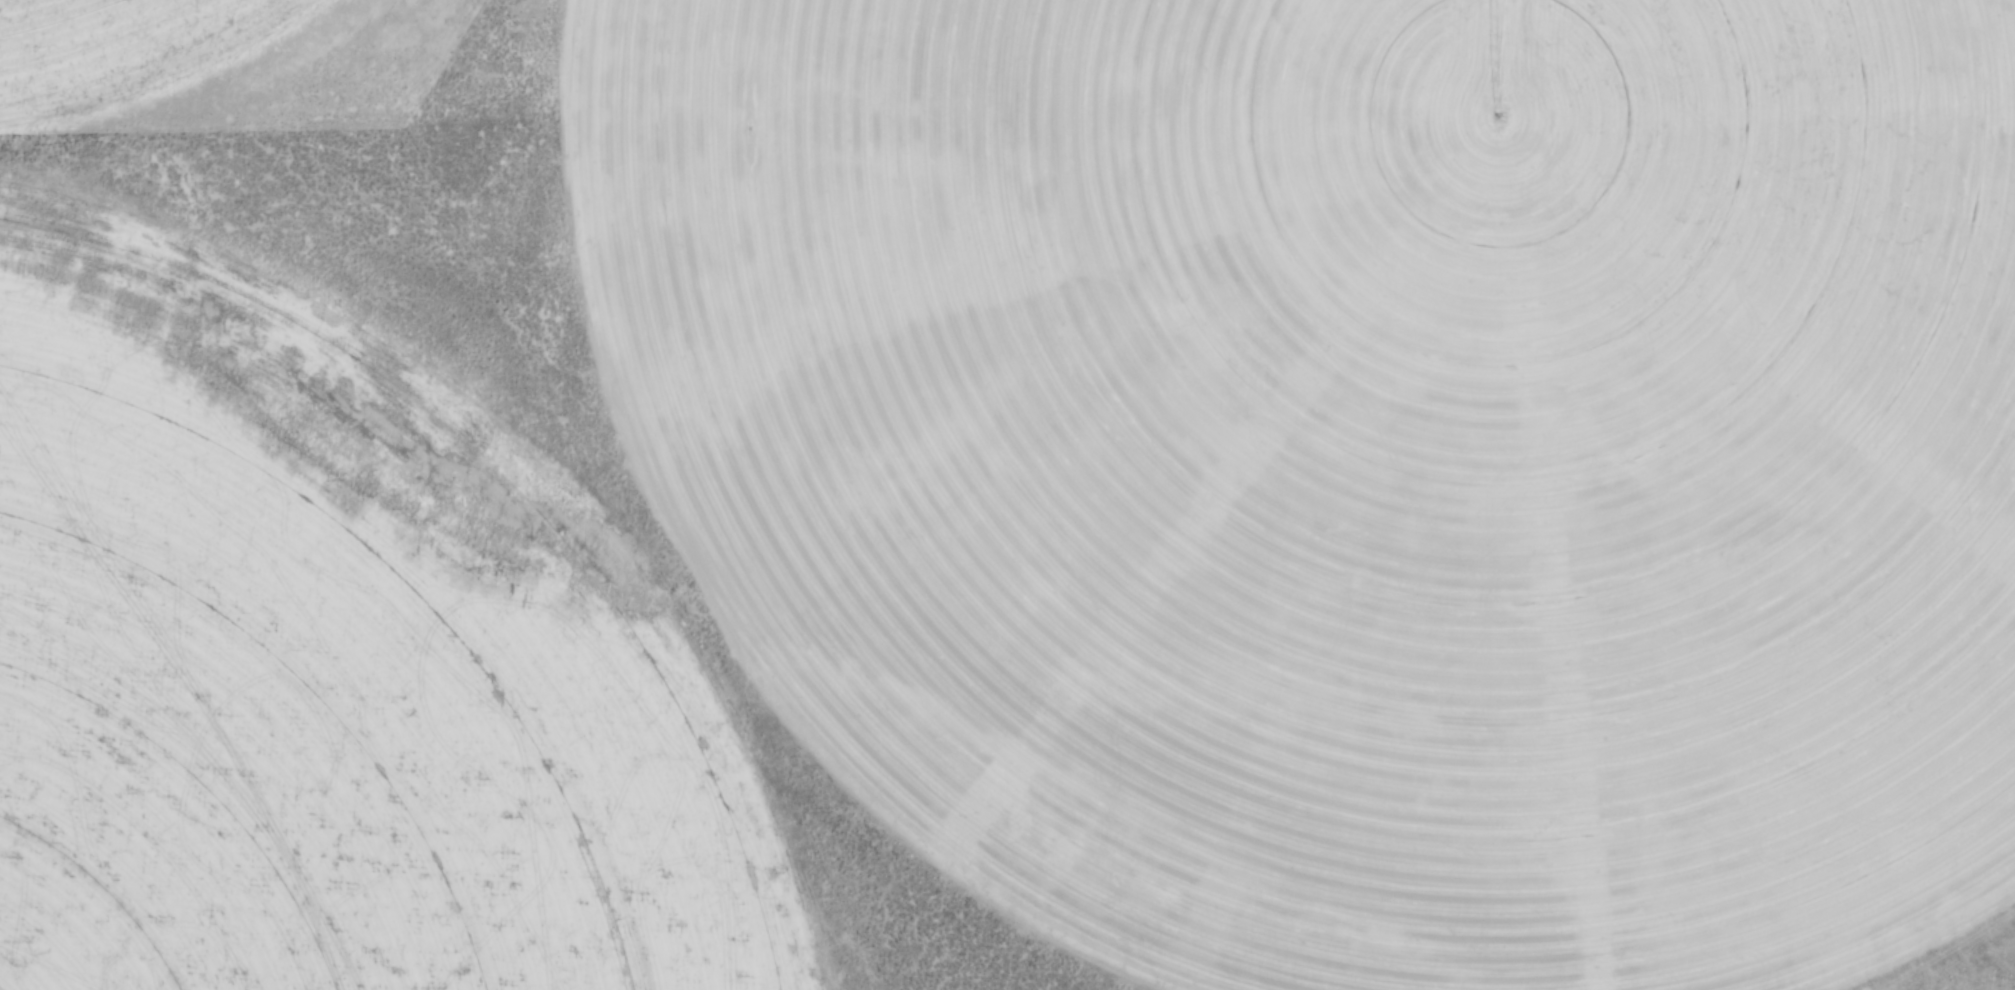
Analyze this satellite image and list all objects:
crop: (101, 37)
crop: (1358, 453)

